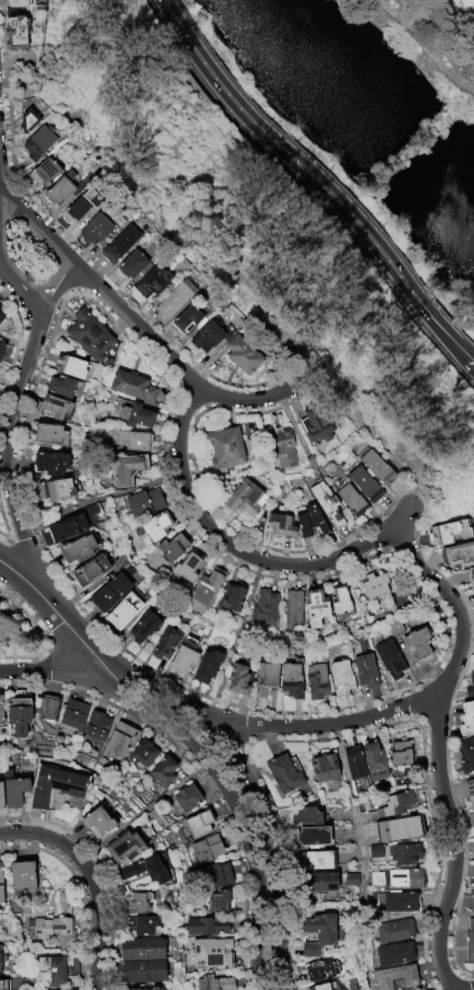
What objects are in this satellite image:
building: (17, 3)
building: (15, 33)
road: (422, 46)
building: (28, 121)
building: (39, 142)
road: (295, 161)
building: (44, 173)
building: (61, 188)
road: (309, 195)
building: (78, 208)
road: (35, 224)
building: (96, 228)
building: (120, 244)
building: (132, 265)
road: (57, 284)
building: (149, 285)
building: (176, 299)
building: (1, 319)
building: (188, 319)
building: (89, 335)
building: (207, 337)
road: (453, 338)
road: (453, 345)
building: (1, 351)
building: (242, 355)
road: (171, 358)
building: (67, 368)
building: (0, 369)
building: (134, 386)
building: (59, 388)
building: (53, 408)
road: (11, 416)
building: (134, 417)
building: (315, 426)
building: (46, 435)
building: (130, 440)
building: (226, 447)
building: (282, 448)
building: (308, 463)
building: (49, 465)
building: (376, 466)
building: (126, 469)
building: (365, 484)
building: (53, 492)
building: (244, 497)
building: (350, 499)
building: (326, 504)
building: (142, 505)
building: (281, 522)
building: (310, 523)
building: (154, 527)
building: (67, 530)
building: (448, 533)
building: (171, 549)
building: (77, 550)
road: (244, 554)
building: (458, 555)
building: (185, 569)
building: (90, 571)
building: (471, 575)
building: (204, 591)
building: (371, 592)
building: (108, 594)
building: (230, 600)
building: (335, 603)
building: (264, 609)
building: (124, 610)
building: (312, 610)
building: (290, 611)
road: (59, 615)
building: (144, 627)
building: (395, 628)
building: (10, 633)
road: (234, 643)
building: (166, 644)
building: (418, 644)
building: (183, 656)
building: (390, 659)
building: (473, 664)
building: (207, 667)
building: (366, 671)
road: (56, 672)
building: (341, 678)
building: (266, 679)
building: (239, 681)
building: (292, 681)
building: (471, 681)
building: (317, 682)
building: (47, 709)
building: (1, 711)
building: (18, 714)
building: (73, 716)
building: (467, 717)
road: (322, 726)
building: (97, 728)
building: (120, 741)
road: (436, 747)
building: (399, 755)
building: (142, 756)
building: (463, 758)
building: (373, 762)
building: (354, 764)
building: (323, 769)
building: (162, 773)
building: (283, 774)
building: (403, 783)
building: (55, 785)
building: (380, 787)
building: (14, 791)
building: (470, 793)
building: (1, 795)
road: (258, 797)
building: (186, 798)
building: (394, 805)
road: (238, 808)
road: (352, 816)
building: (306, 819)
building: (96, 824)
building: (198, 824)
building: (398, 830)
building: (309, 839)
building: (124, 848)
building: (206, 849)
building: (404, 854)
building: (315, 863)
building: (145, 871)
building: (215, 874)
building: (23, 876)
building: (350, 878)
road: (91, 879)
building: (405, 879)
building: (376, 880)
building: (1, 884)
building: (317, 884)
building: (137, 902)
building: (218, 902)
building: (397, 902)
building: (472, 906)
building: (47, 926)
building: (142, 926)
building: (205, 926)
building: (393, 932)
building: (317, 934)
building: (469, 942)
building: (142, 950)
building: (212, 953)
building: (393, 954)
building: (69, 965)
building: (46, 970)
building: (320, 971)
building: (143, 972)
building: (395, 977)
building: (213, 983)
building: (1, 984)
building: (319, 987)
building: (46, 989)
building: (63, 989)
building: (133, 989)
building: (155, 989)
building: (416, 989)
building: (421, 989)
road: (473, 989)

